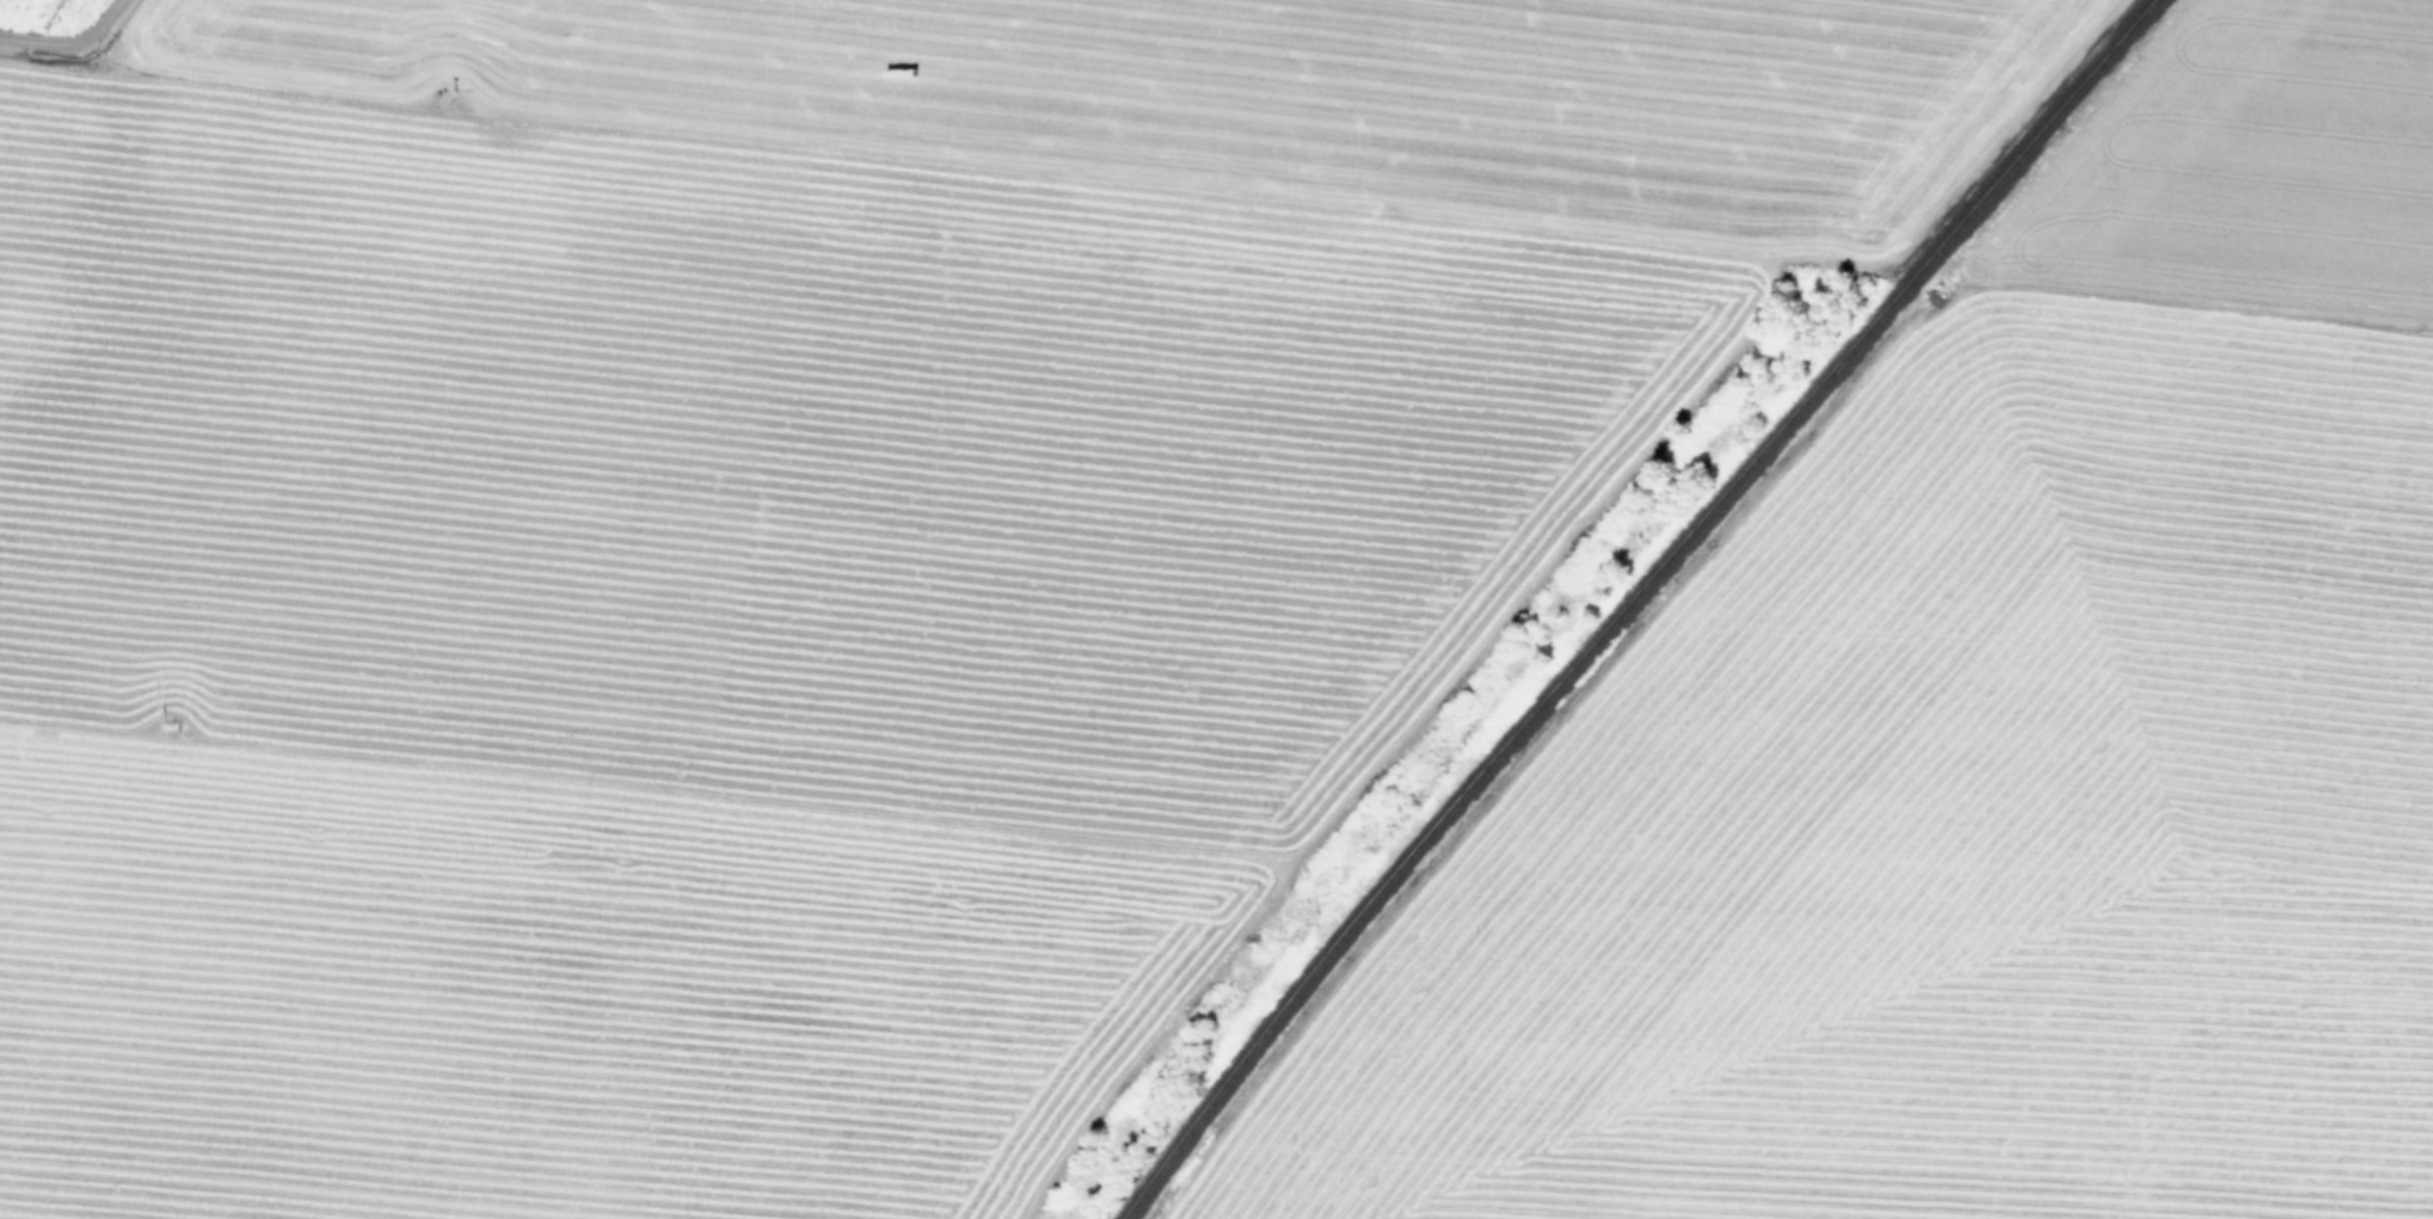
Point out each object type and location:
crop: (794, 542)
railway: (1632, 601)
crop: (2023, 755)

